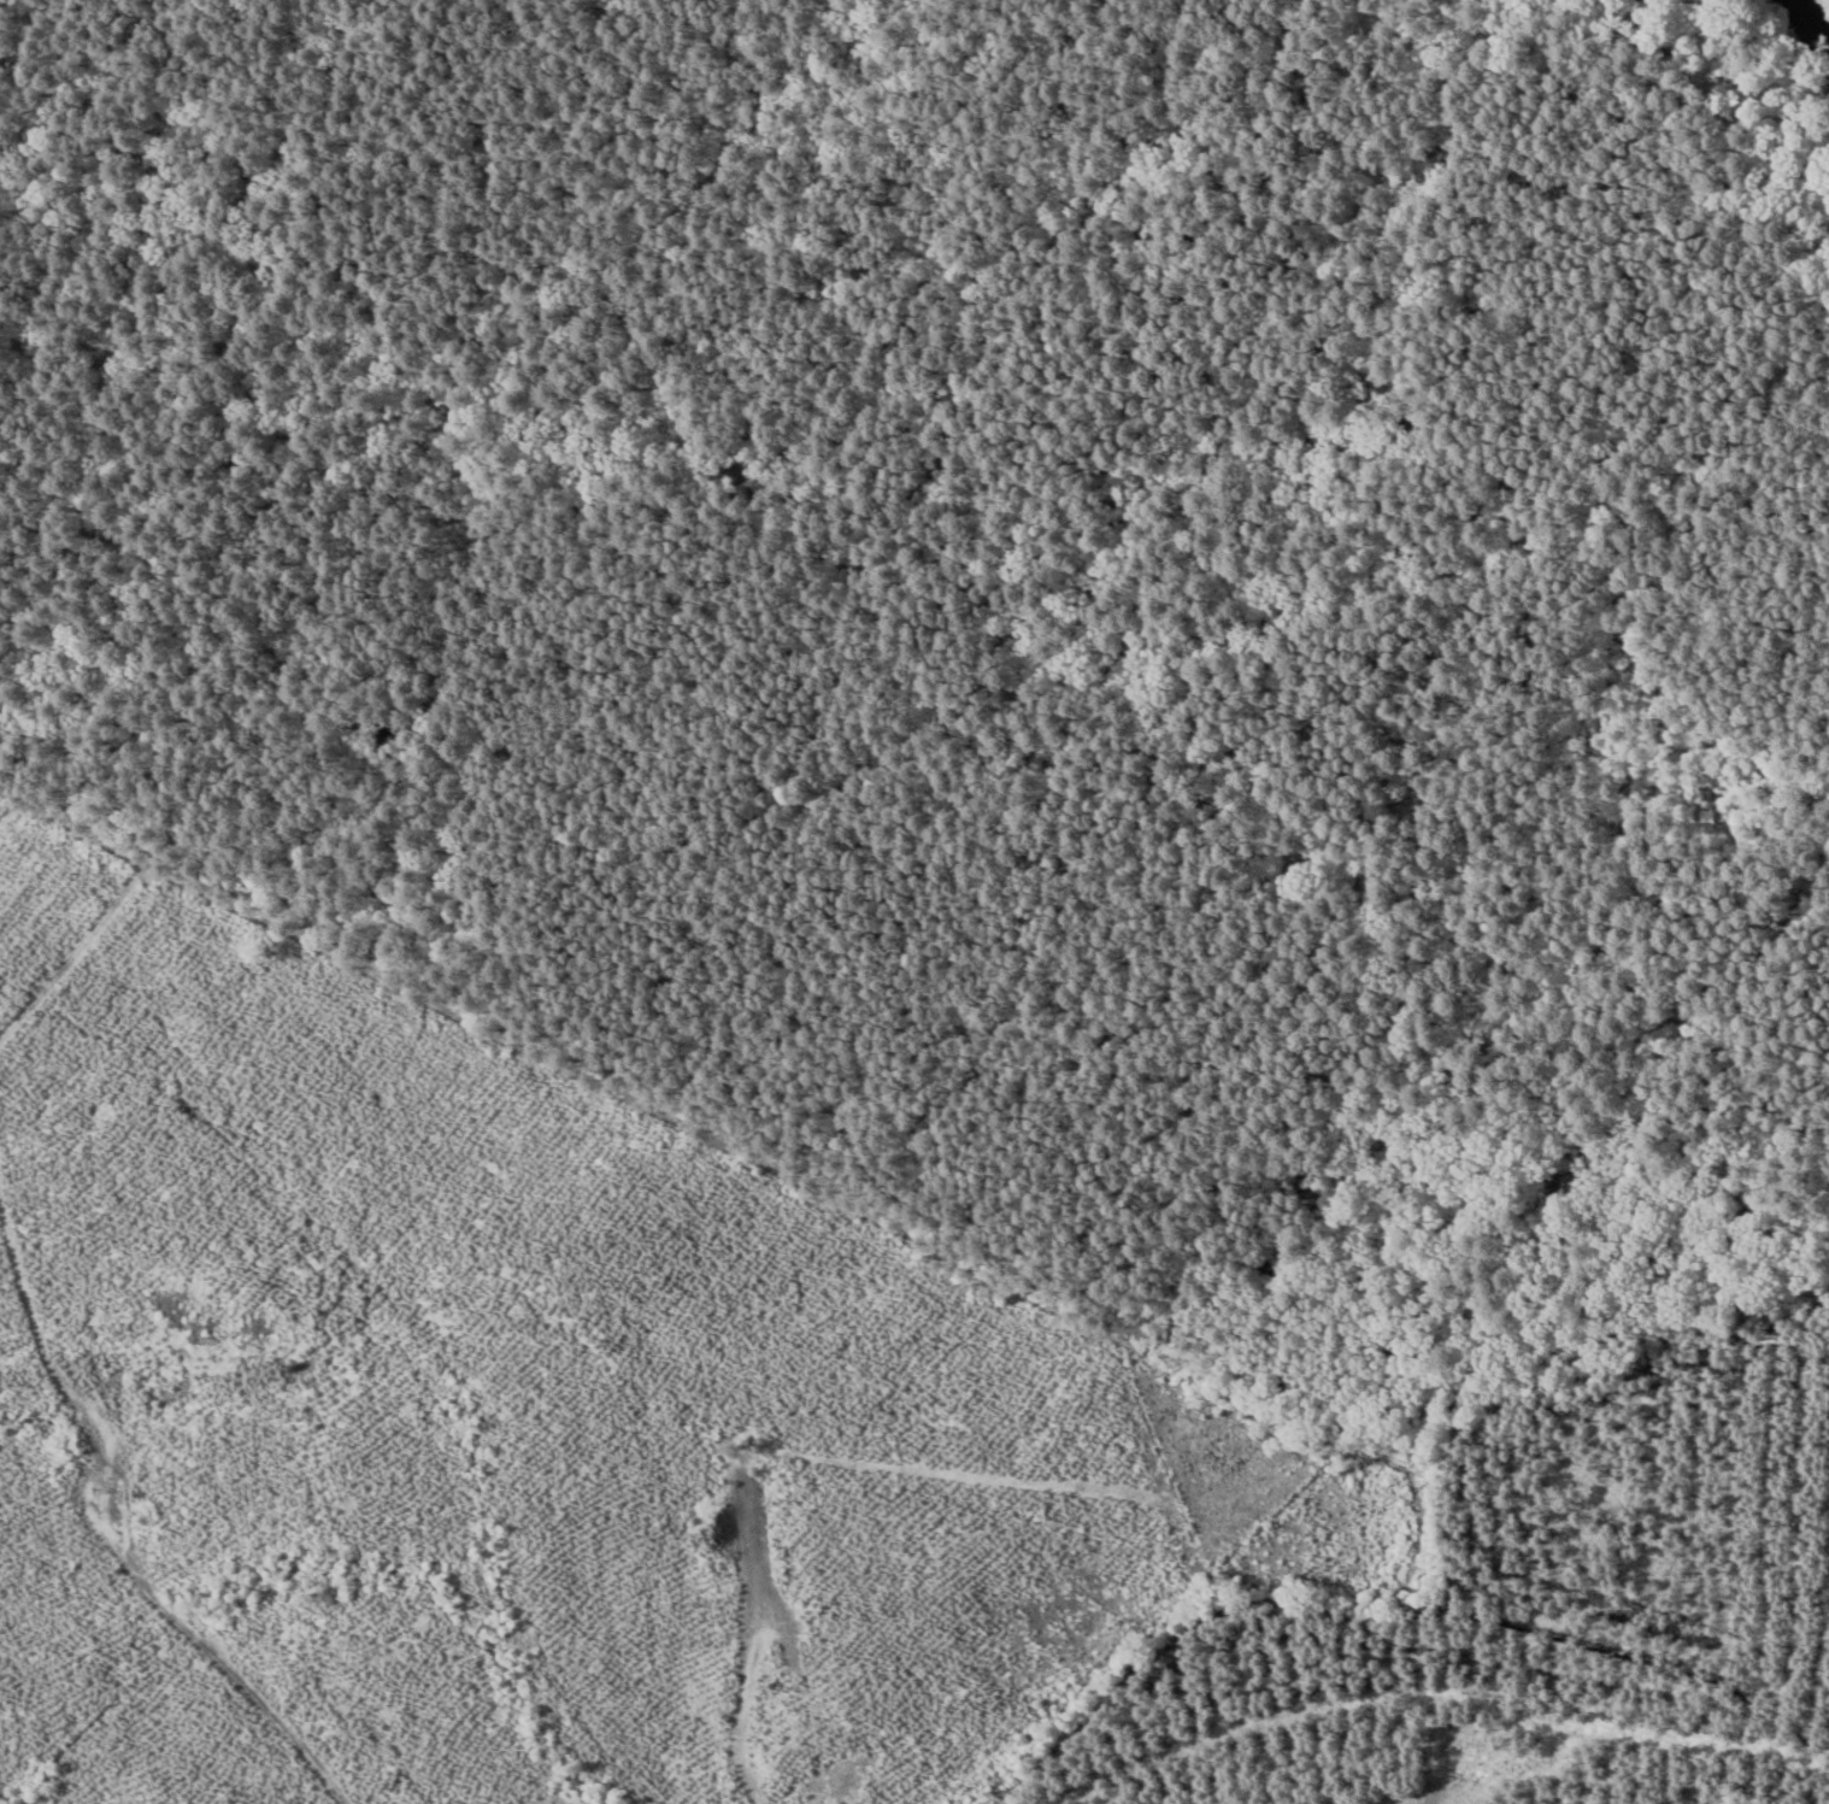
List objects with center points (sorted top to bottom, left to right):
river: (1828, 0)

